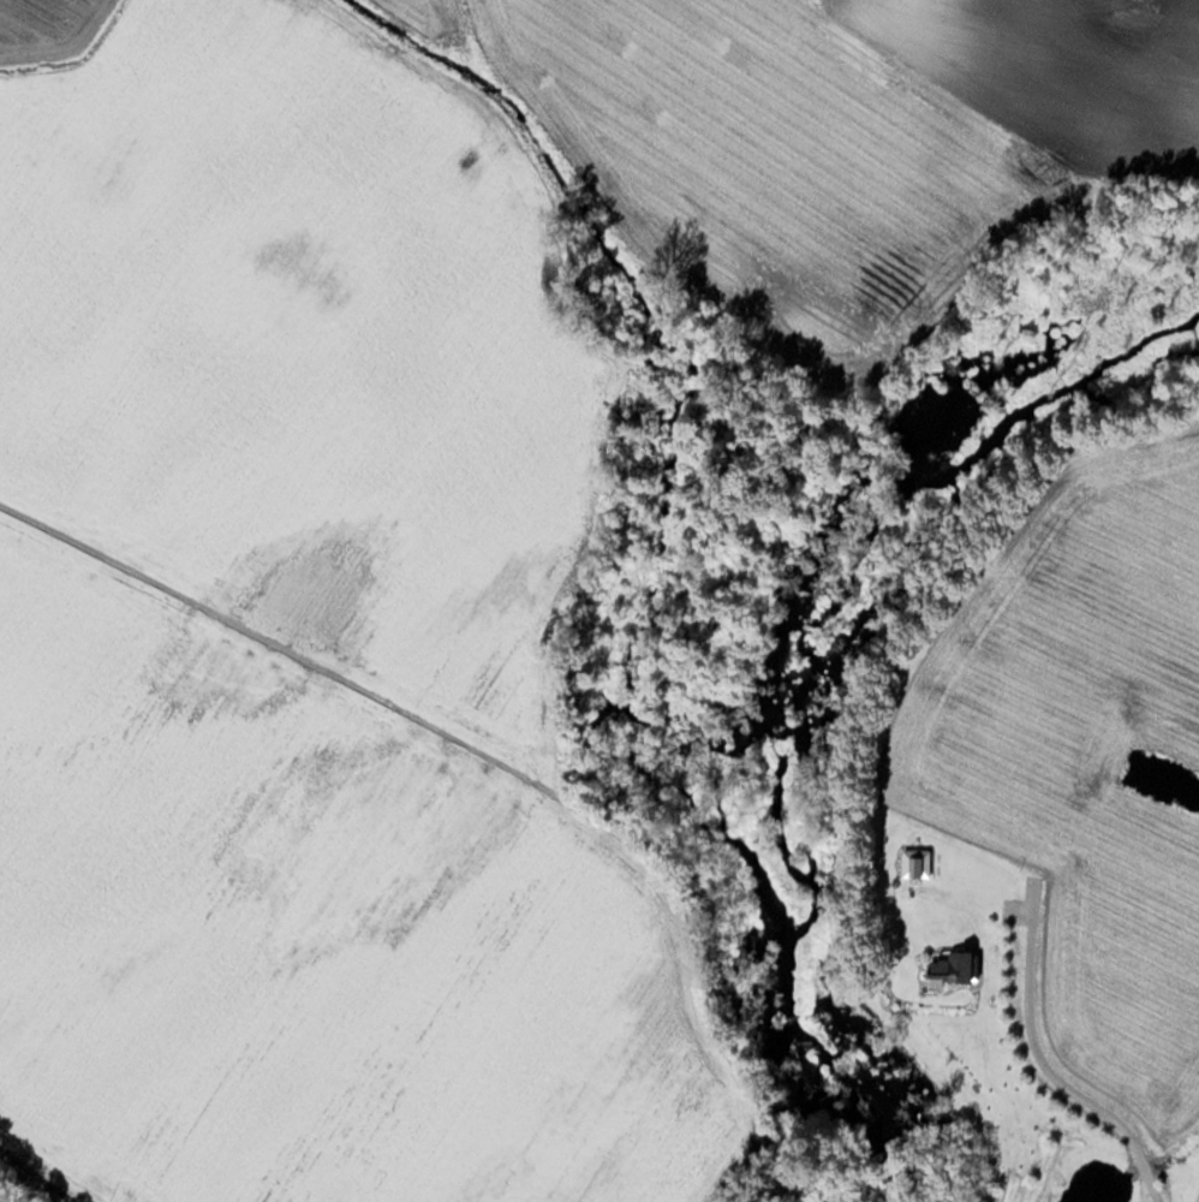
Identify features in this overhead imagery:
road: (32, 1178)

